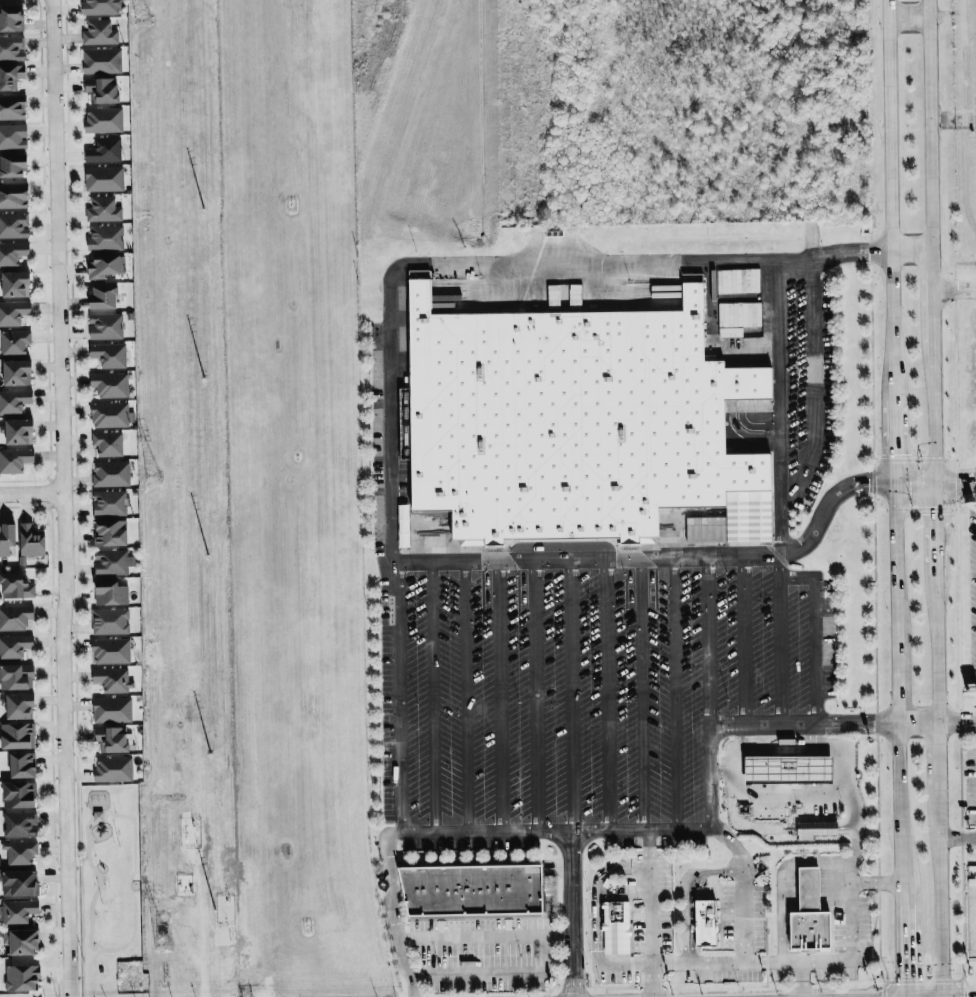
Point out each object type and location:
power tower: (141, 0)
building: (101, 7)
road: (905, 14)
building: (12, 18)
building: (99, 32)
building: (12, 47)
building: (102, 60)
building: (11, 75)
building: (102, 89)
building: (12, 107)
building: (103, 119)
road: (923, 124)
building: (13, 136)
building: (104, 150)
building: (13, 166)
building: (104, 178)
building: (14, 195)
building: (103, 209)
building: (14, 225)
building: (105, 237)
road: (889, 240)
road: (908, 248)
building: (12, 252)
road: (454, 264)
building: (104, 265)
building: (15, 284)
road: (926, 284)
road: (951, 287)
building: (103, 297)
building: (13, 312)
building: (105, 326)
building: (14, 342)
building: (109, 354)
road: (779, 362)
building: (17, 372)
building: (109, 384)
road: (818, 387)
building: (14, 400)
road: (928, 400)
building: (109, 414)
building: (562, 418)
building: (19, 431)
building: (107, 443)
building: (15, 459)
power tower: (150, 469)
building: (111, 473)
road: (952, 477)
road: (912, 480)
road: (29, 492)
road: (59, 498)
building: (109, 503)
road: (931, 520)
road: (819, 521)
building: (402, 525)
building: (110, 532)
building: (7, 538)
building: (31, 541)
road: (895, 557)
road: (568, 560)
building: (16, 586)
building: (110, 592)
parking lot: (955, 597)
building: (15, 617)
building: (110, 621)
road: (813, 634)
road: (778, 641)
road: (933, 641)
road: (744, 642)
building: (15, 646)
building: (110, 650)
road: (706, 660)
building: (16, 676)
building: (112, 679)
road: (898, 679)
parking lot: (582, 685)
road: (672, 693)
road: (638, 694)
road: (606, 695)
road: (398, 696)
road: (534, 696)
road: (569, 696)
road: (431, 697)
road: (466, 697)
road: (499, 697)
building: (18, 705)
building: (112, 709)
road: (955, 719)
road: (917, 722)
road: (802, 725)
building: (17, 736)
building: (111, 739)
road: (838, 750)
road: (735, 758)
building: (23, 765)
road: (936, 768)
building: (113, 769)
building: (790, 770)
road: (703, 776)
road: (814, 792)
building: (20, 795)
road: (900, 815)
building: (20, 824)
building: (816, 829)
road: (552, 832)
road: (956, 838)
road: (728, 841)
road: (650, 847)
building: (20, 852)
road: (835, 861)
road: (602, 874)
road: (387, 879)
road: (876, 882)
building: (20, 883)
building: (475, 890)
road: (688, 893)
road: (938, 905)
building: (19, 911)
road: (571, 914)
building: (812, 914)
building: (707, 923)
building: (616, 926)
road: (453, 934)
building: (21, 941)
road: (903, 952)
road: (670, 963)
road: (495, 973)
building: (22, 978)
road: (801, 978)
road: (653, 980)

